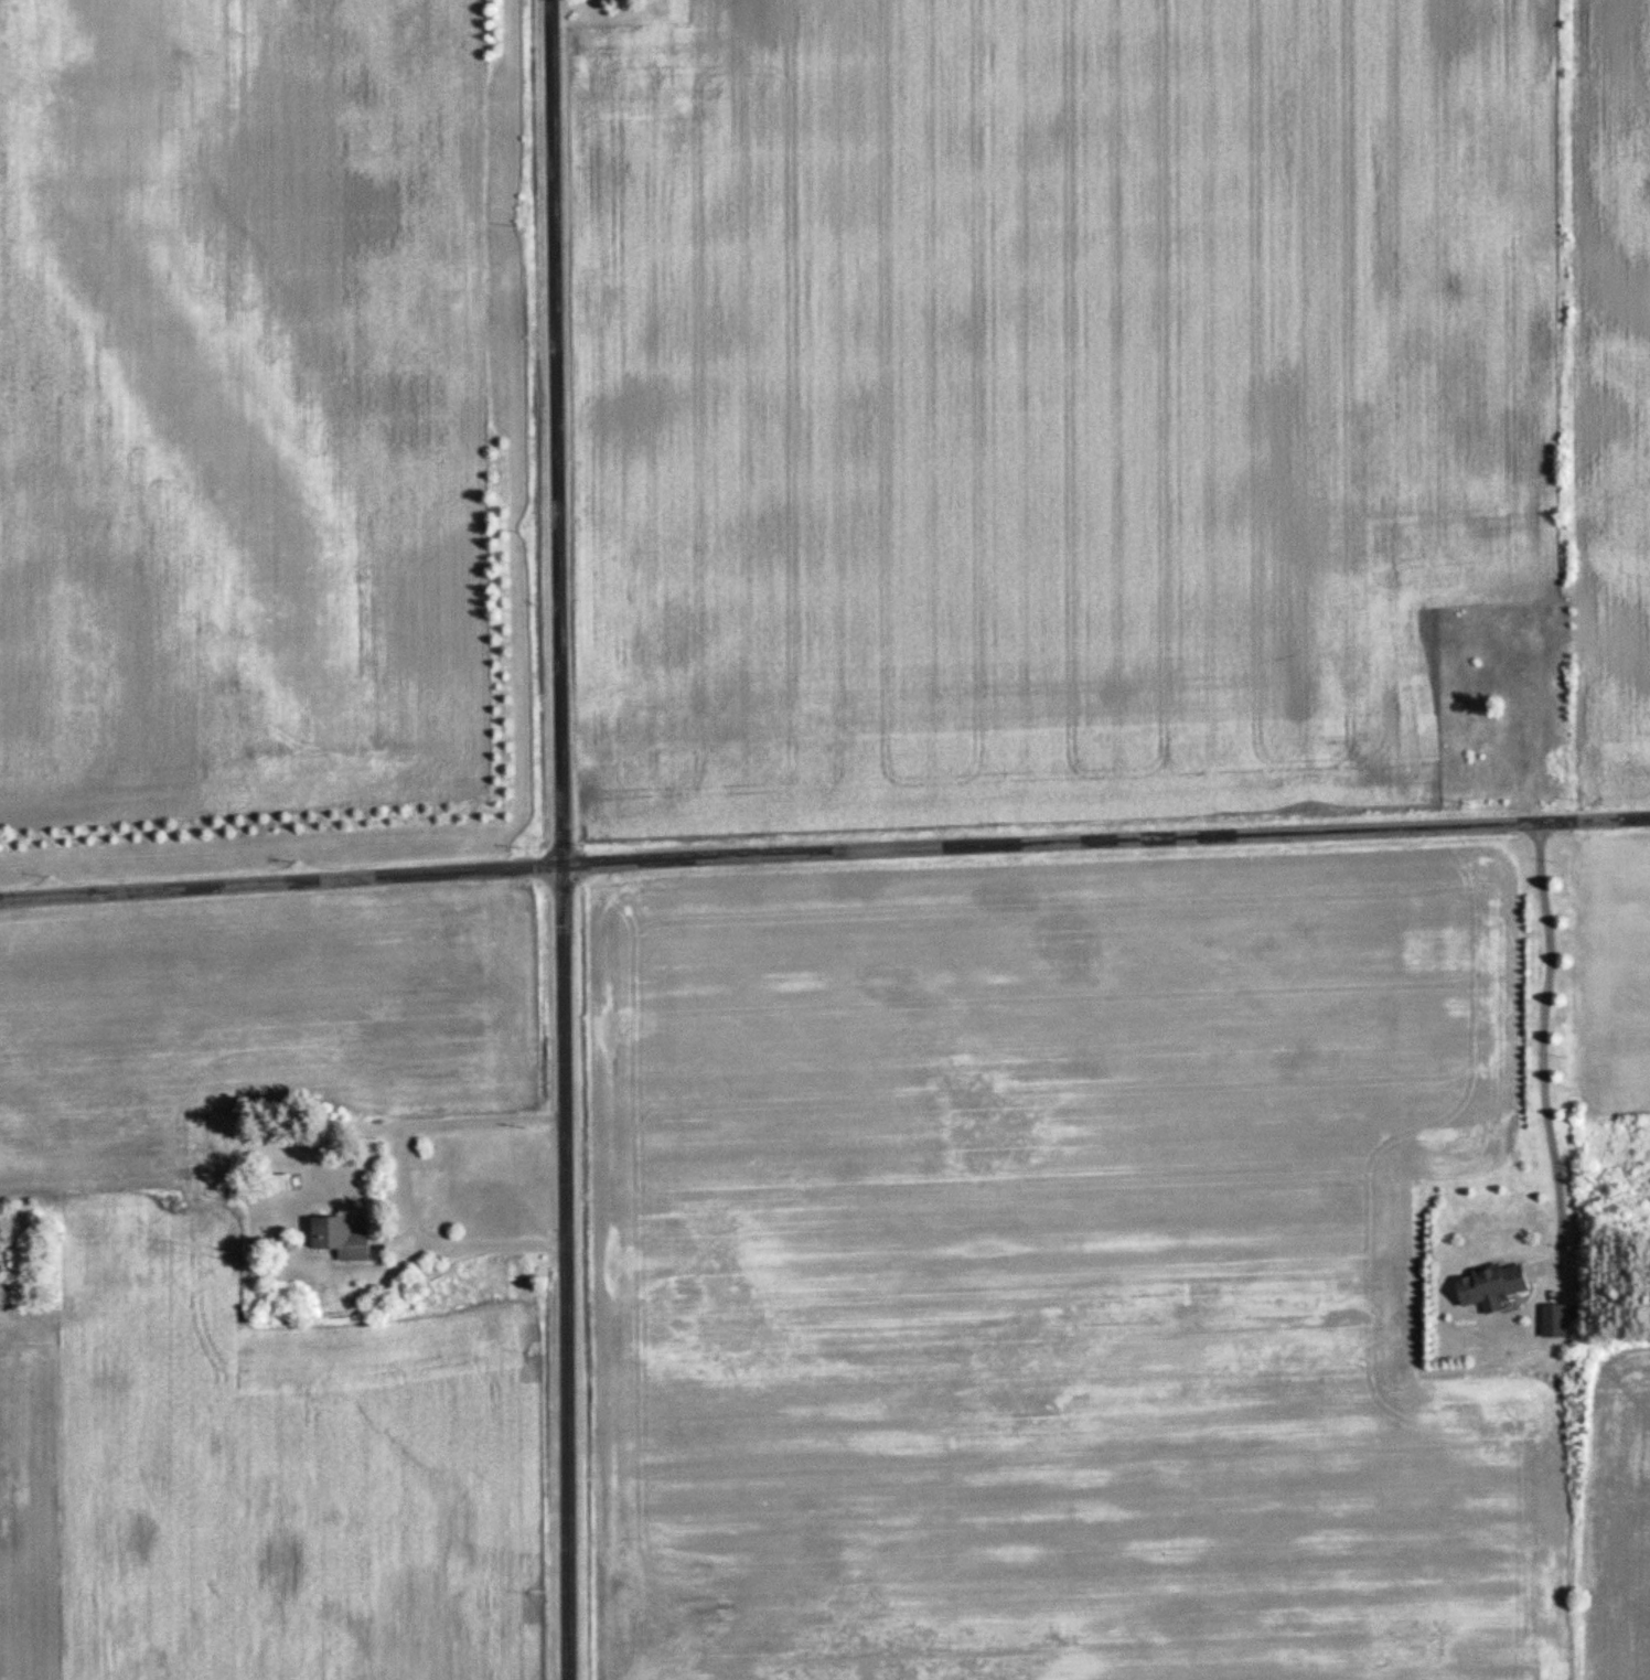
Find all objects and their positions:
road: (562, 839)
road: (824, 852)
road: (1535, 1047)
road: (478, 1224)
building: (347, 1238)
building: (1487, 1287)

